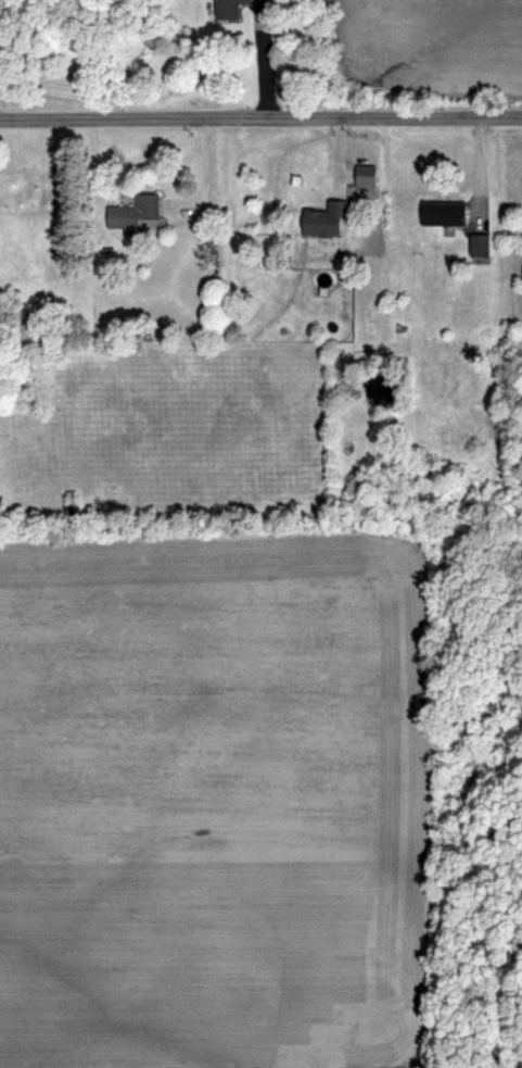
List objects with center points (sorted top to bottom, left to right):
building: (230, 9)
crop: (437, 39)
road: (265, 70)
road: (260, 113)
building: (362, 175)
building: (135, 210)
building: (443, 212)
building: (323, 218)
building: (479, 243)
crop: (213, 797)

